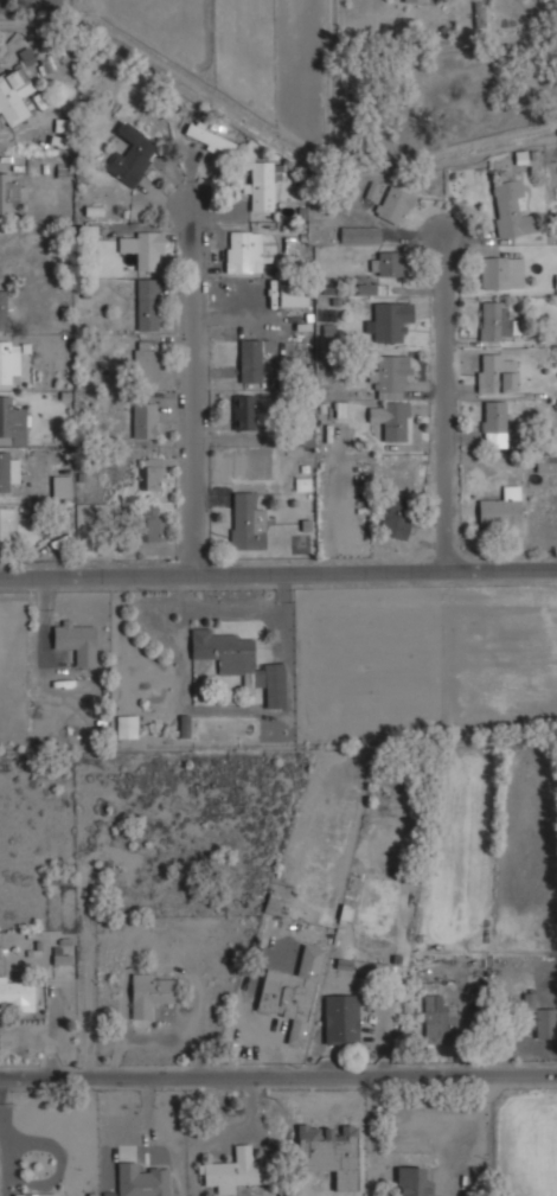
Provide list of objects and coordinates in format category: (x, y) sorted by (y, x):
building: (408, 0)
building: (478, 6)
building: (26, 56)
building: (13, 95)
building: (209, 139)
building: (130, 155)
building: (262, 184)
building: (7, 191)
building: (392, 204)
building: (508, 210)
building: (359, 235)
building: (142, 248)
building: (241, 251)
building: (386, 262)
building: (500, 270)
building: (366, 288)
building: (292, 295)
building: (147, 303)
building: (2, 308)
building: (390, 320)
building: (498, 321)
building: (250, 359)
building: (145, 360)
building: (8, 362)
building: (494, 373)
building: (388, 375)
road: (198, 396)
road: (442, 407)
building: (244, 411)
building: (492, 416)
building: (142, 420)
building: (389, 420)
building: (11, 423)
building: (545, 462)
building: (6, 471)
building: (148, 473)
building: (501, 511)
building: (395, 520)
building: (245, 522)
building: (149, 523)
building: (7, 526)
road: (277, 577)
building: (76, 640)
building: (238, 661)
building: (127, 725)
building: (282, 733)
building: (270, 902)
building: (59, 957)
building: (15, 992)
building: (292, 992)
building: (148, 993)
building: (529, 1002)
building: (437, 1018)
building: (340, 1019)
building: (545, 1023)
road: (278, 1077)
building: (233, 1171)
building: (141, 1181)
building: (411, 1182)
building: (36, 1194)

